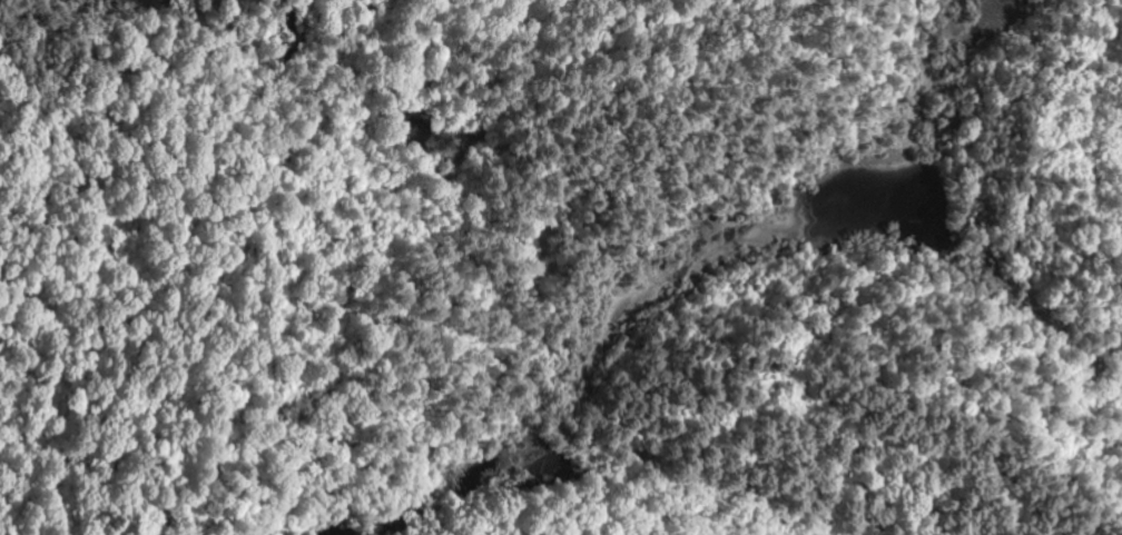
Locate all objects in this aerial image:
road: (698, 521)

